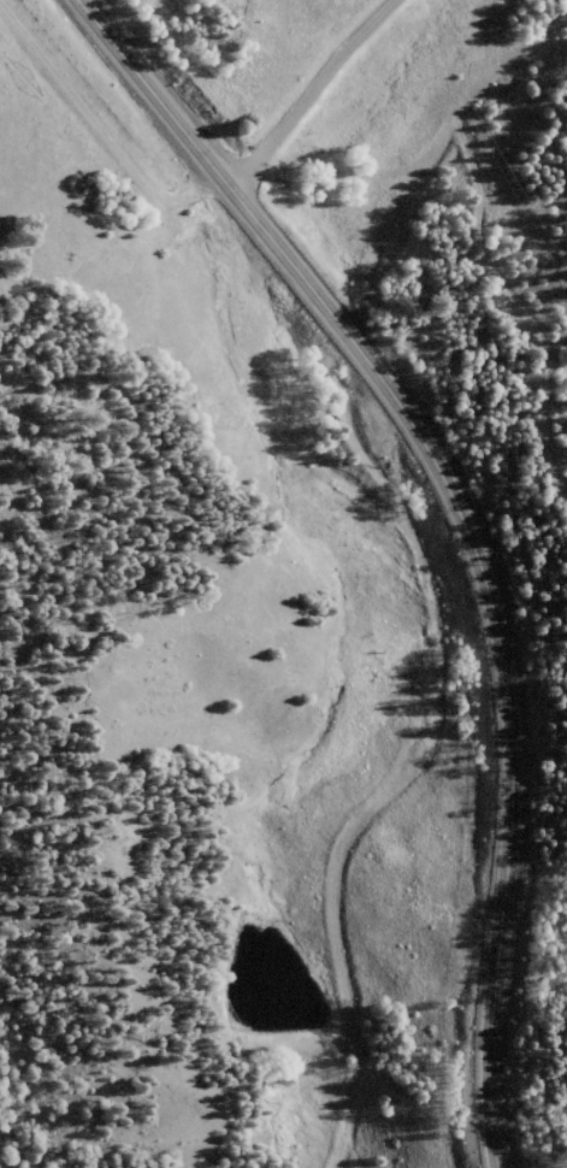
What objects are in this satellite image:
road: (461, 524)
road: (420, 598)

